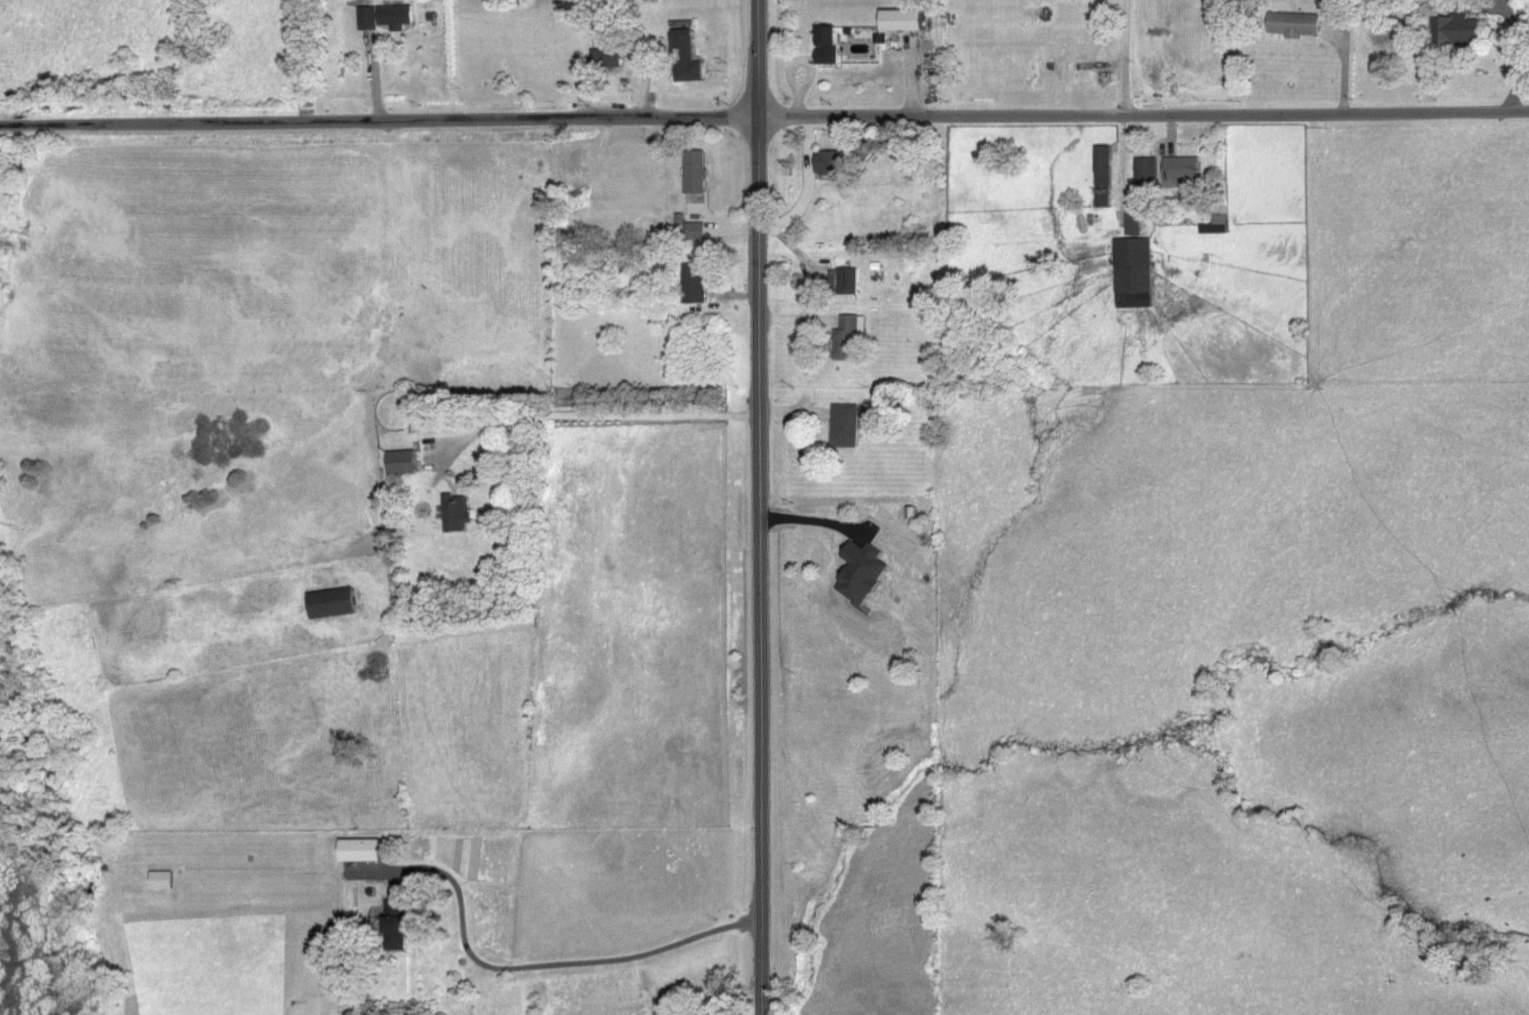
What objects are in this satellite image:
building: (1399, 0)
road: (1506, 6)
road: (1473, 12)
building: (388, 18)
building: (906, 21)
building: (1297, 26)
building: (1457, 31)
building: (829, 47)
road: (1125, 57)
road: (1519, 57)
building: (608, 59)
building: (688, 59)
road: (764, 117)
building: (832, 164)
building: (1185, 172)
building: (697, 173)
building: (1150, 173)
building: (1106, 178)
building: (682, 220)
building: (1136, 224)
building: (1218, 227)
building: (697, 232)
building: (1136, 274)
building: (846, 282)
building: (696, 287)
building: (851, 339)
road: (591, 412)
building: (848, 427)
building: (404, 463)
road: (757, 507)
building: (458, 514)
building: (865, 574)
building: (336, 605)
building: (363, 852)
building: (164, 882)
building: (399, 923)
road: (526, 968)

